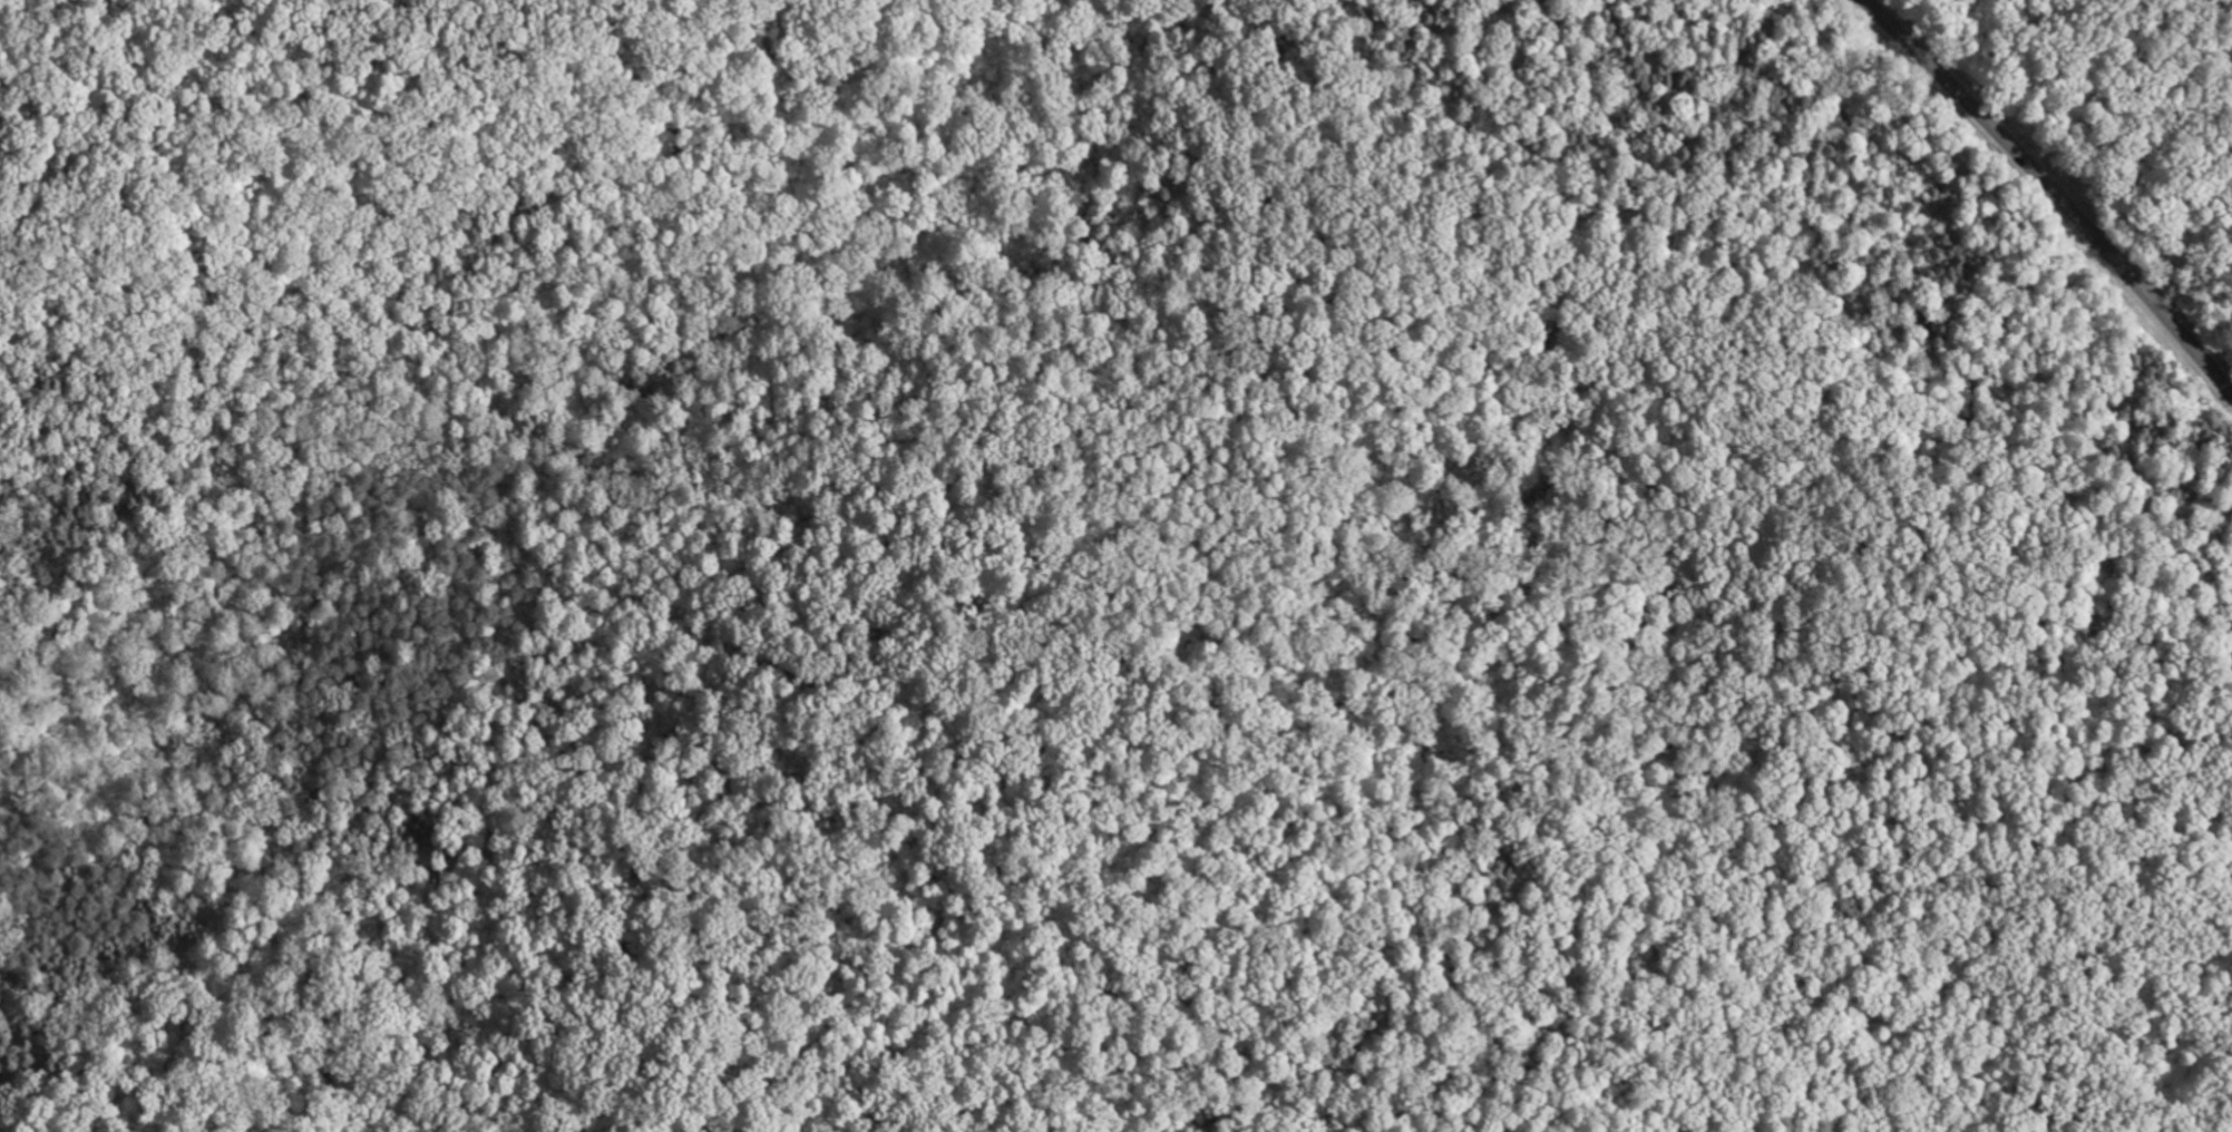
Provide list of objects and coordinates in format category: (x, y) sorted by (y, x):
road: (2050, 194)
road: (1965, 373)

